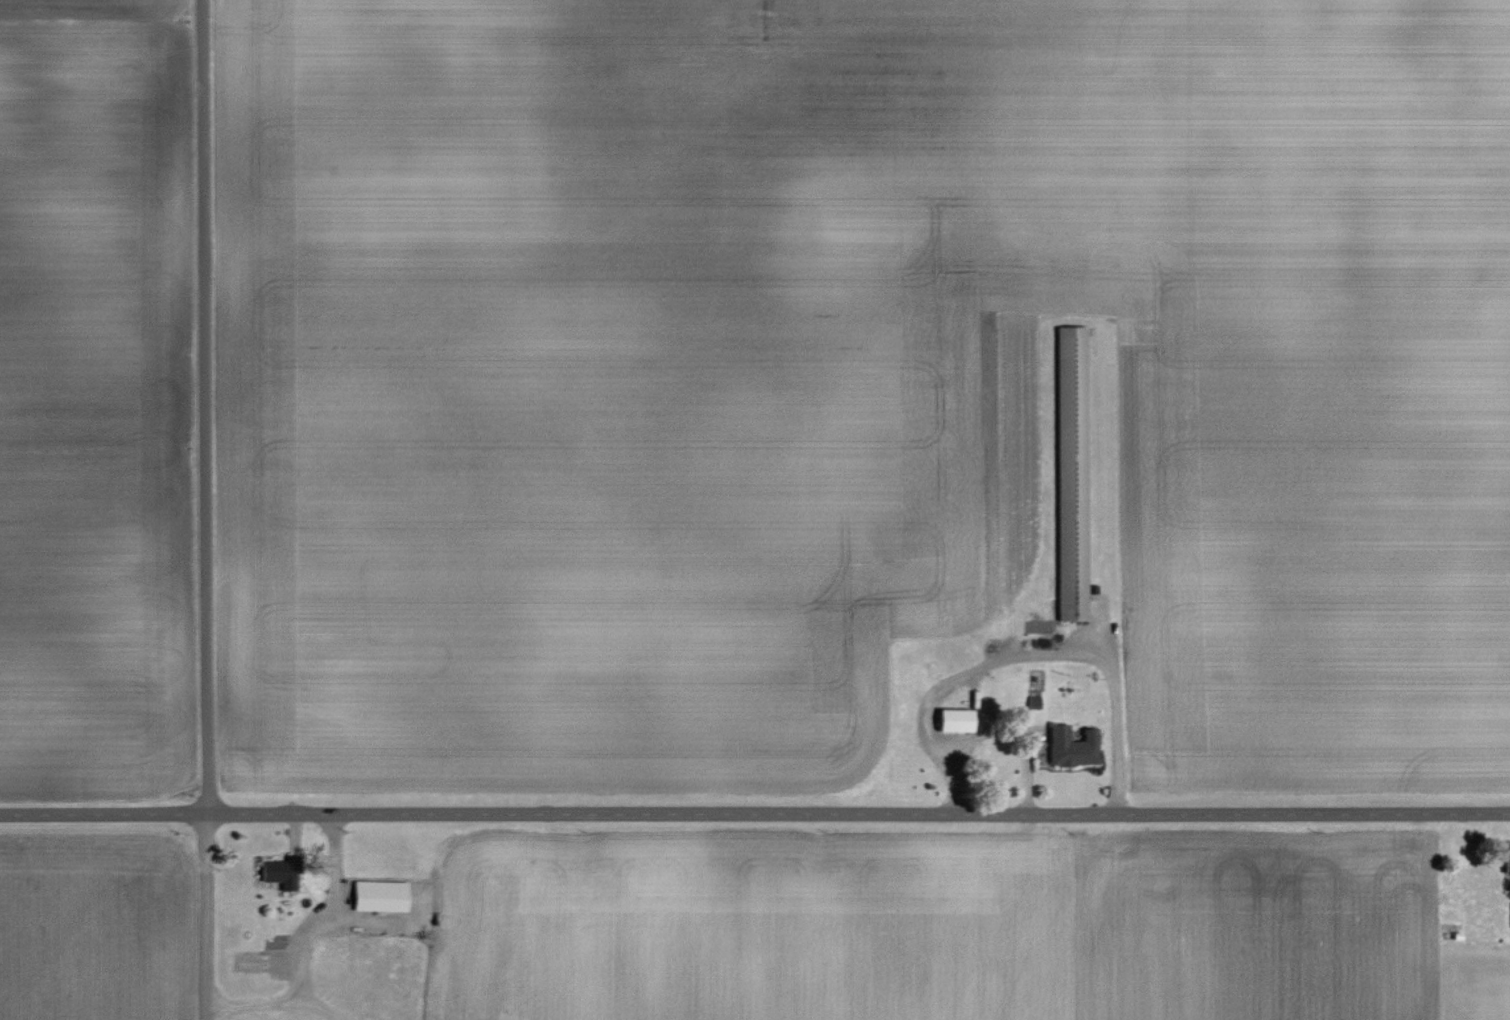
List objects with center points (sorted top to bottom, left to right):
road: (198, 510)
road: (1027, 655)
building: (949, 720)
building: (1067, 747)
road: (754, 811)
building: (1504, 859)
building: (281, 874)
road: (323, 911)
building: (1509, 928)
road: (269, 1002)

